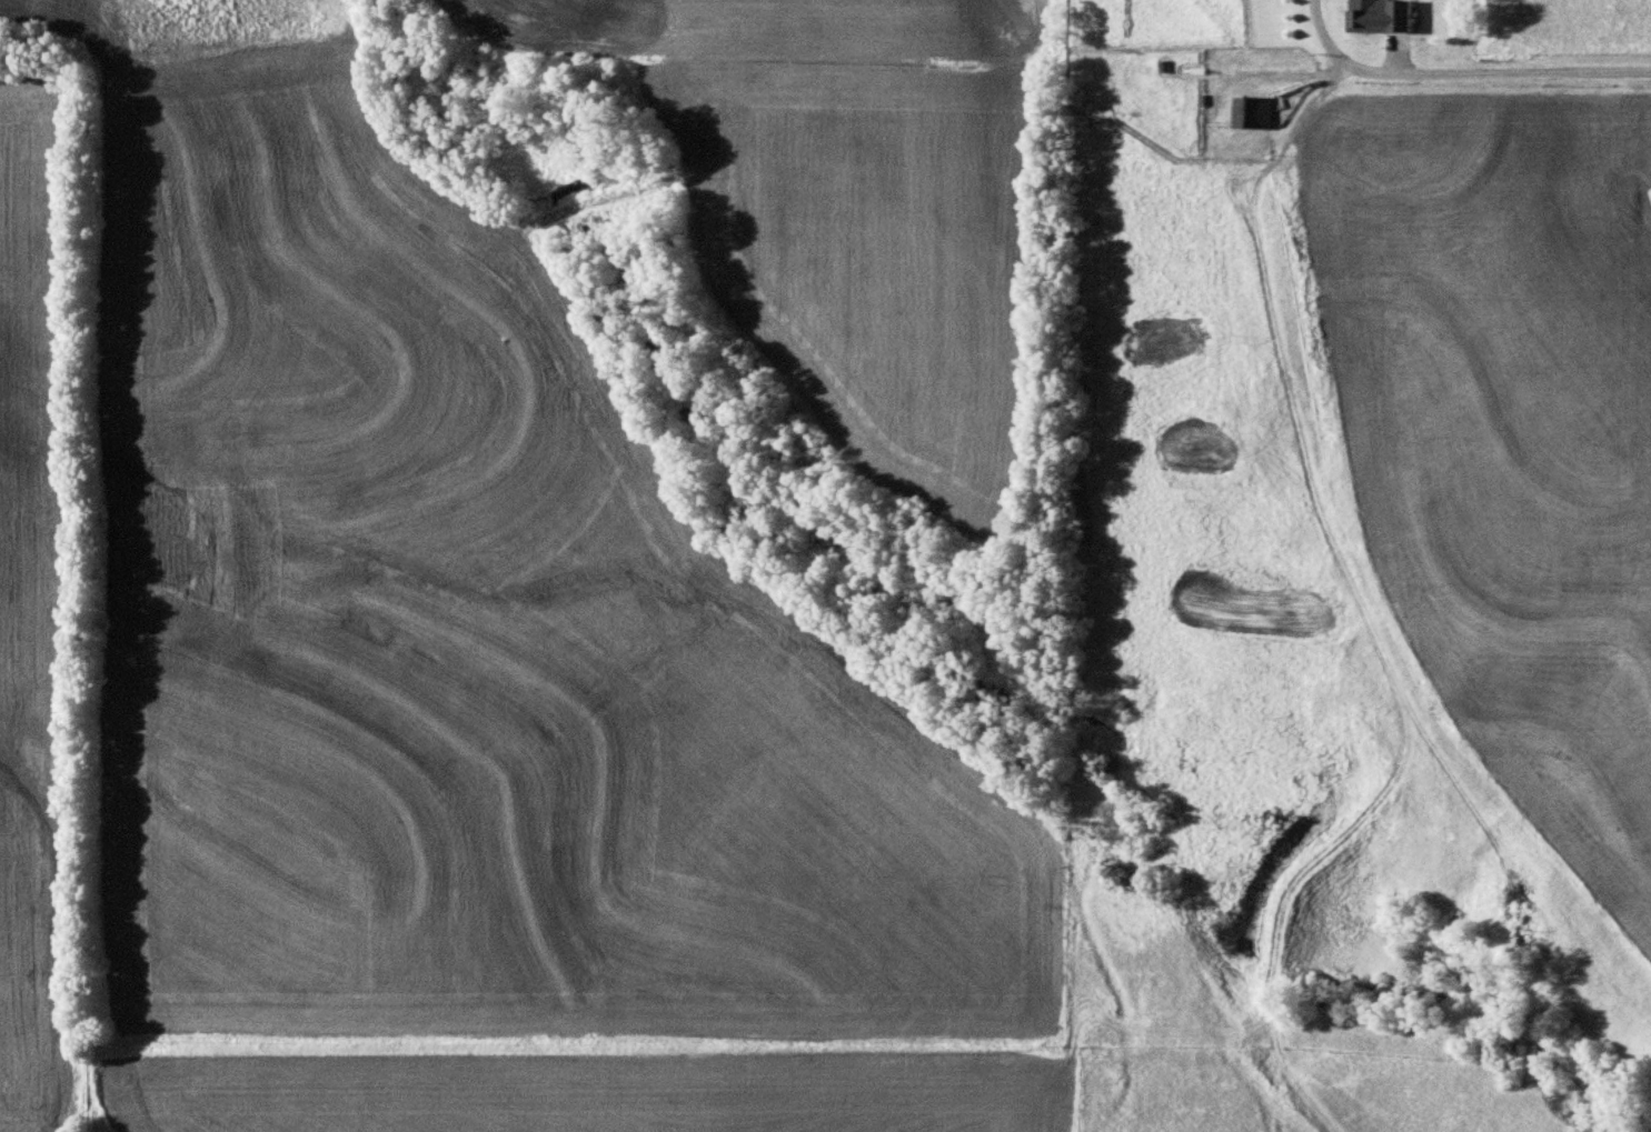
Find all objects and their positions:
building: (1385, 13)
road: (1464, 67)
building: (1255, 108)

